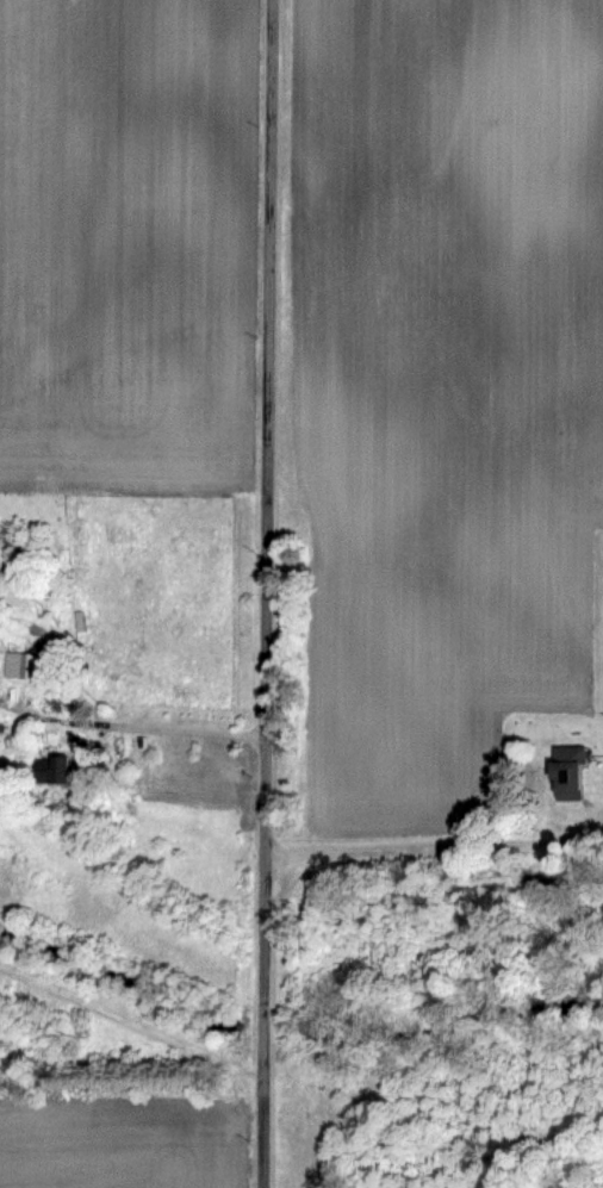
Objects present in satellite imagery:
building: (14, 542)
road: (261, 593)
building: (20, 665)
road: (160, 727)
building: (51, 771)
building: (567, 772)
road: (431, 845)

